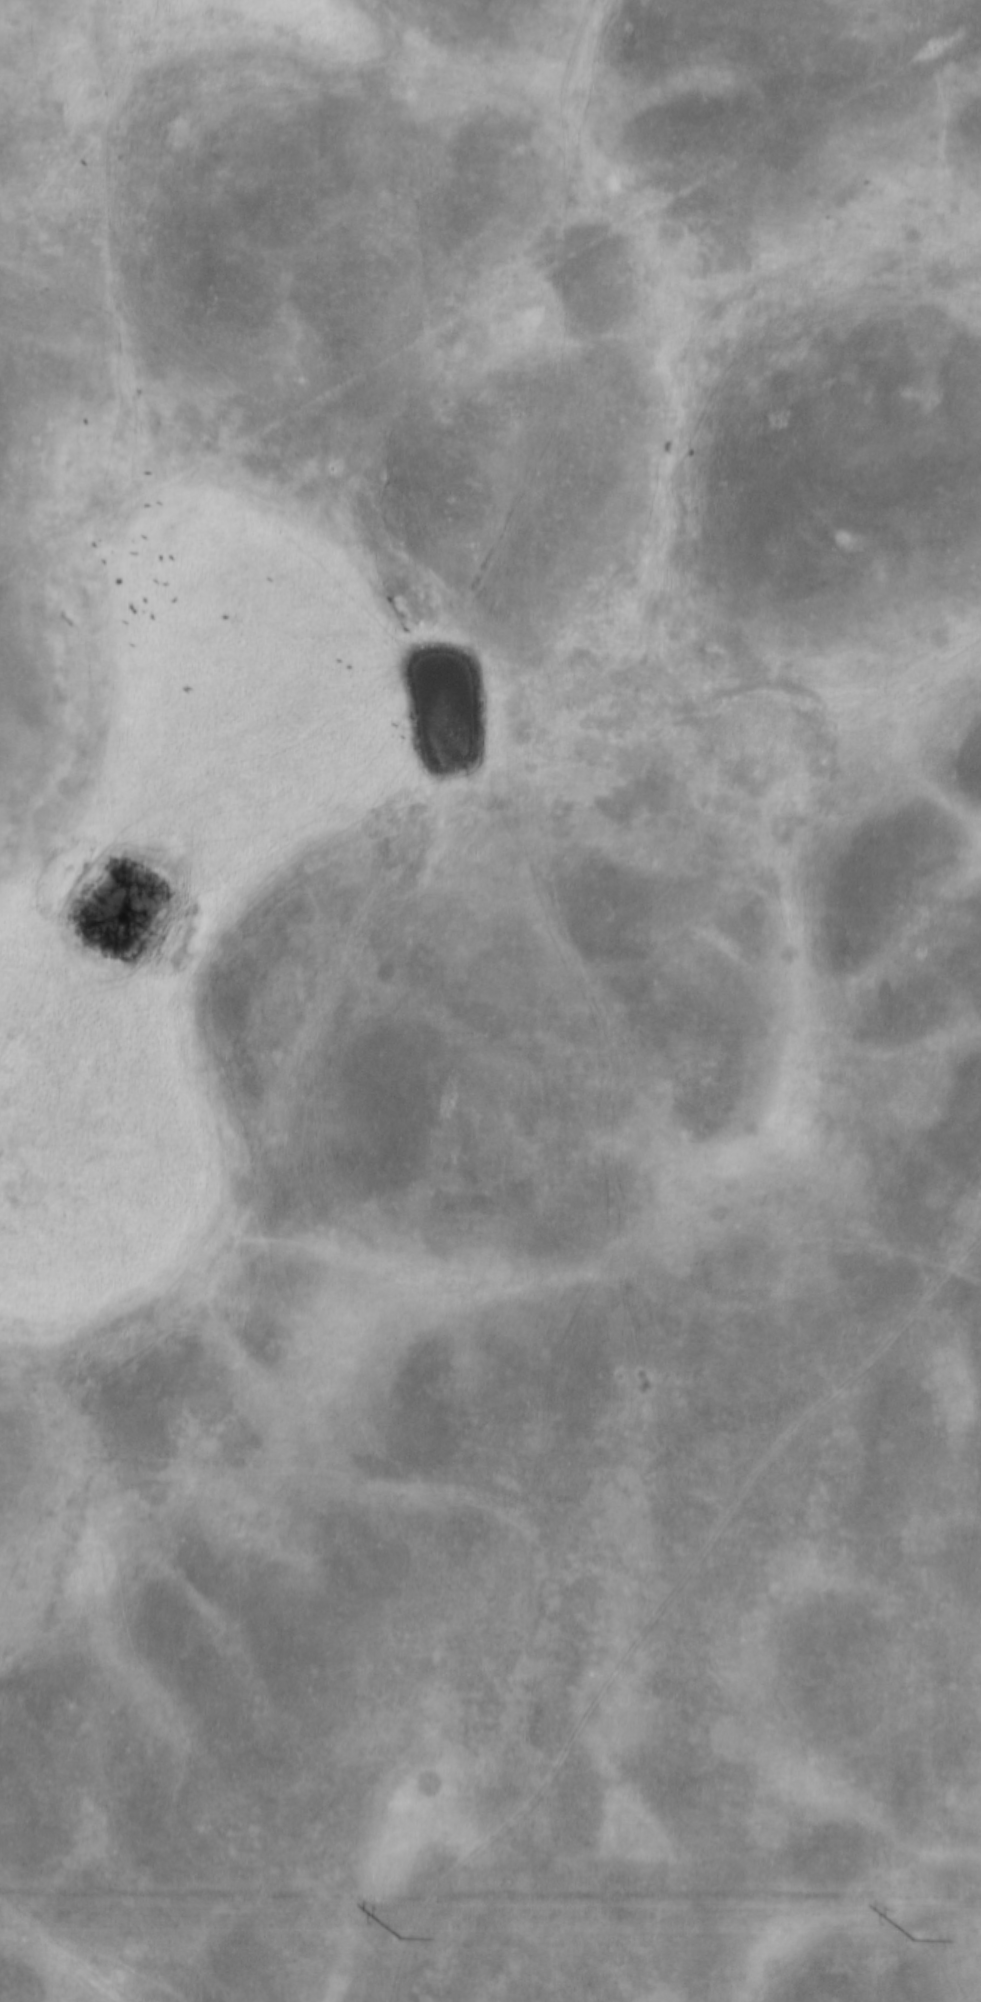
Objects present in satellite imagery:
road: (662, 1608)
power tower: (395, 1937)
power tower: (911, 1939)

